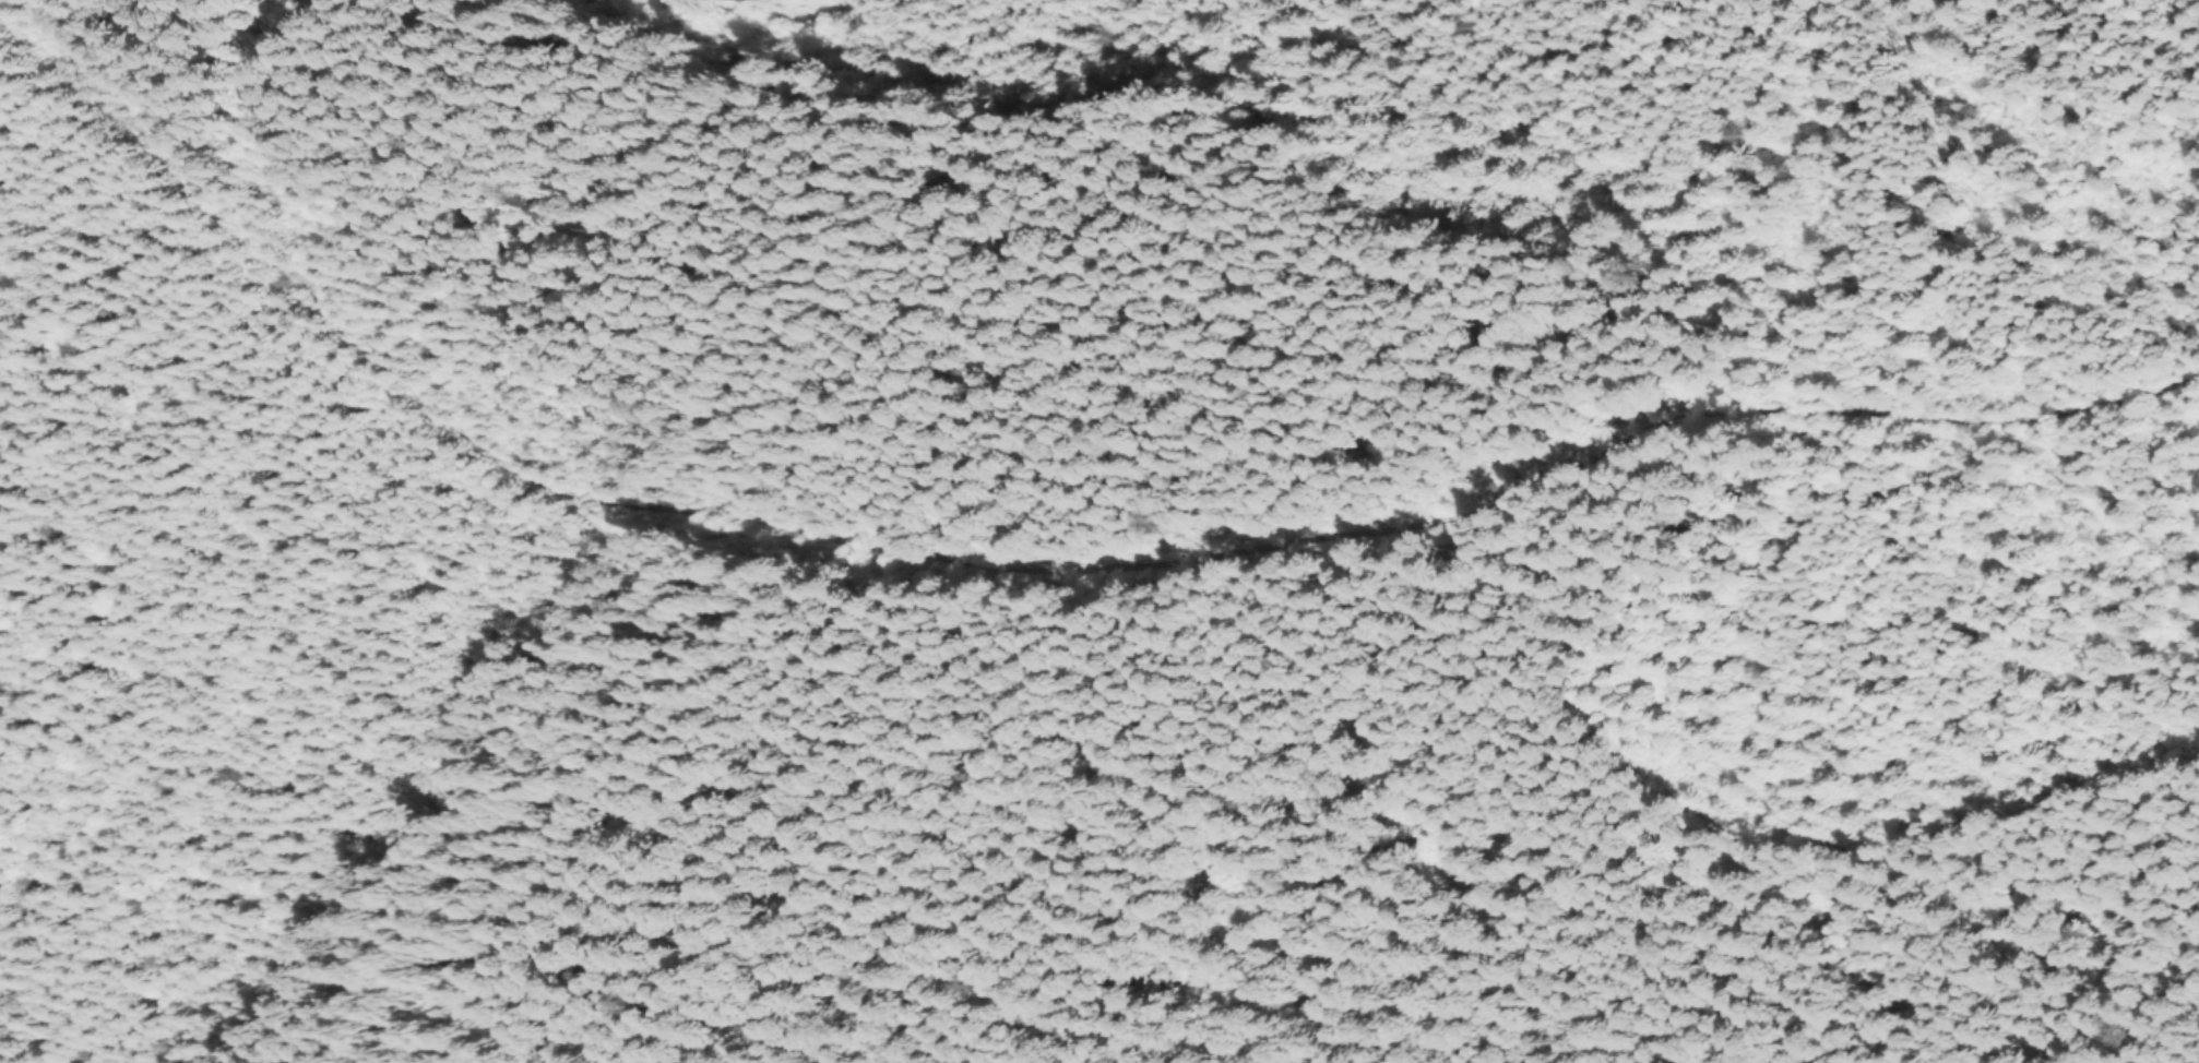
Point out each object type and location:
road: (771, 53)
road: (927, 105)
road: (285, 119)
road: (1020, 576)

